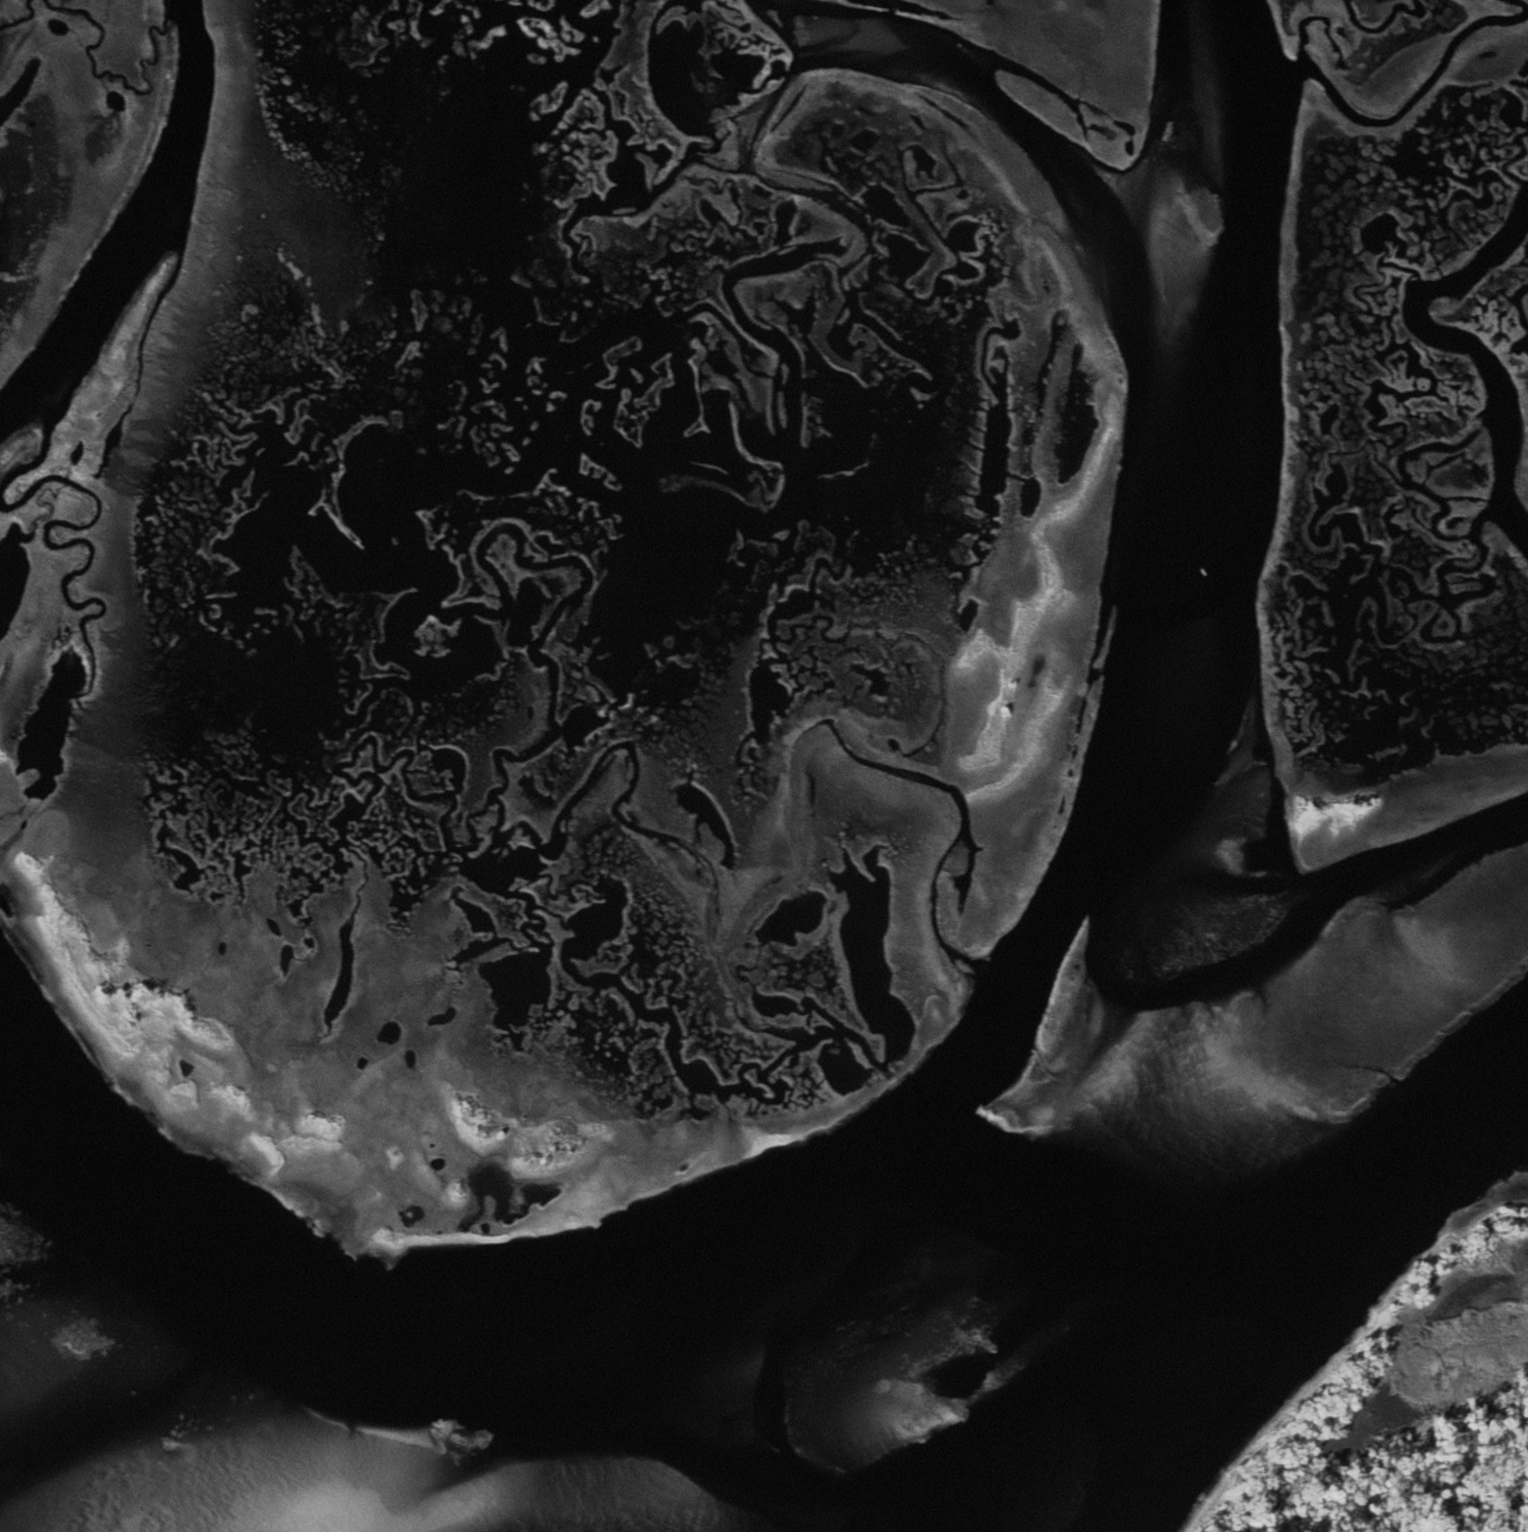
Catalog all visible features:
park: (1404, 1405)

